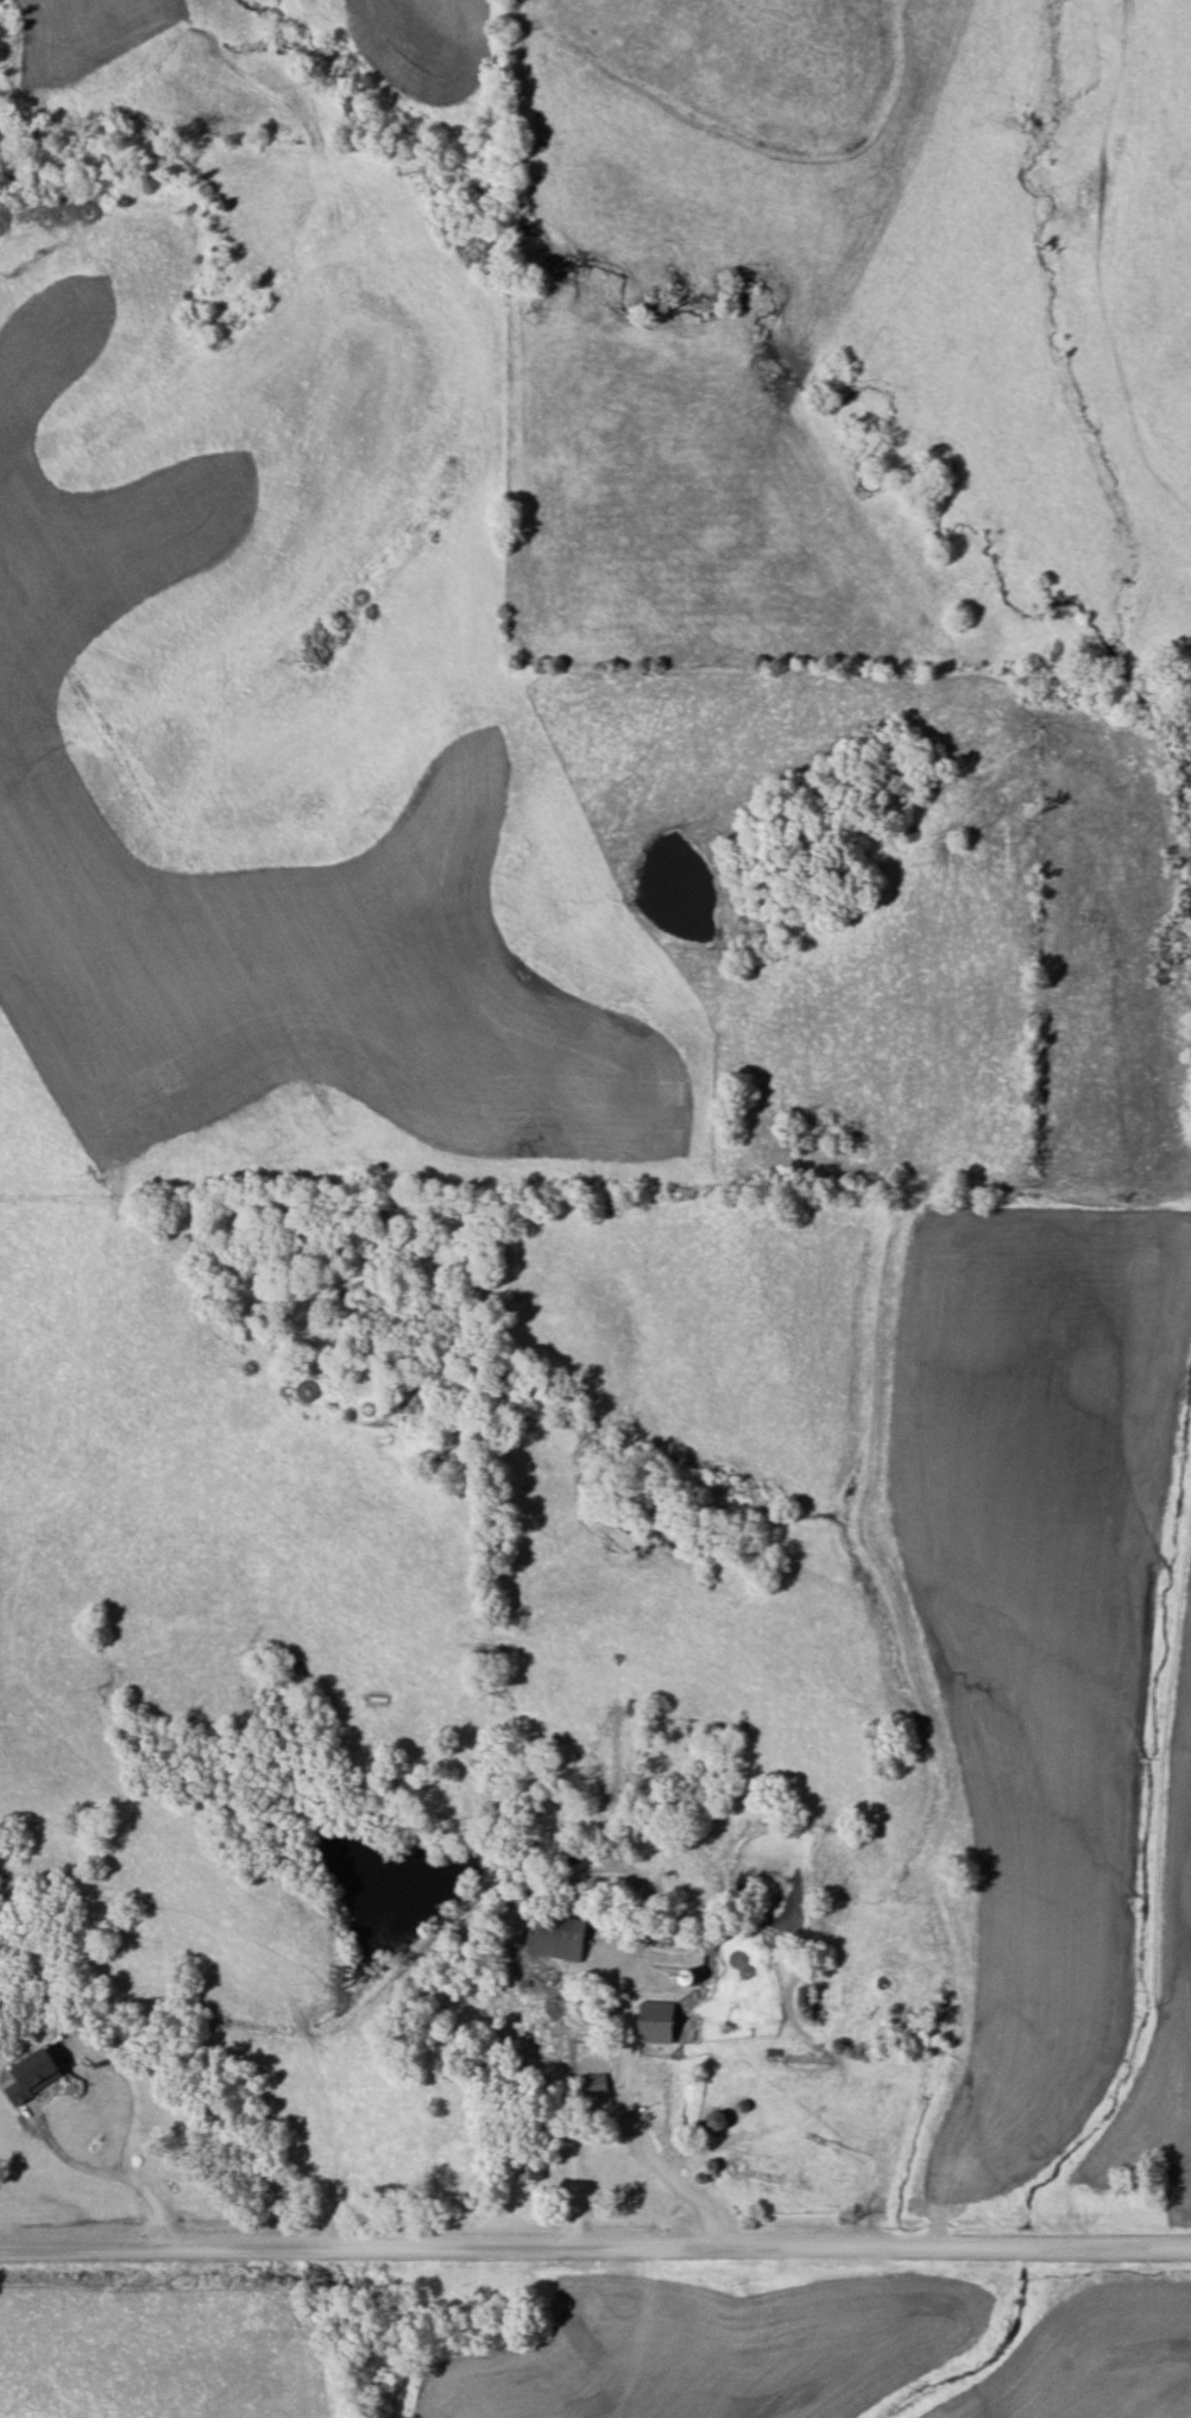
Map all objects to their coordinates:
building: (553, 1937)
building: (800, 2000)
building: (650, 2022)
building: (31, 2073)
building: (593, 2084)
road: (623, 2114)
building: (711, 2120)
building: (527, 2168)
road: (595, 2248)

